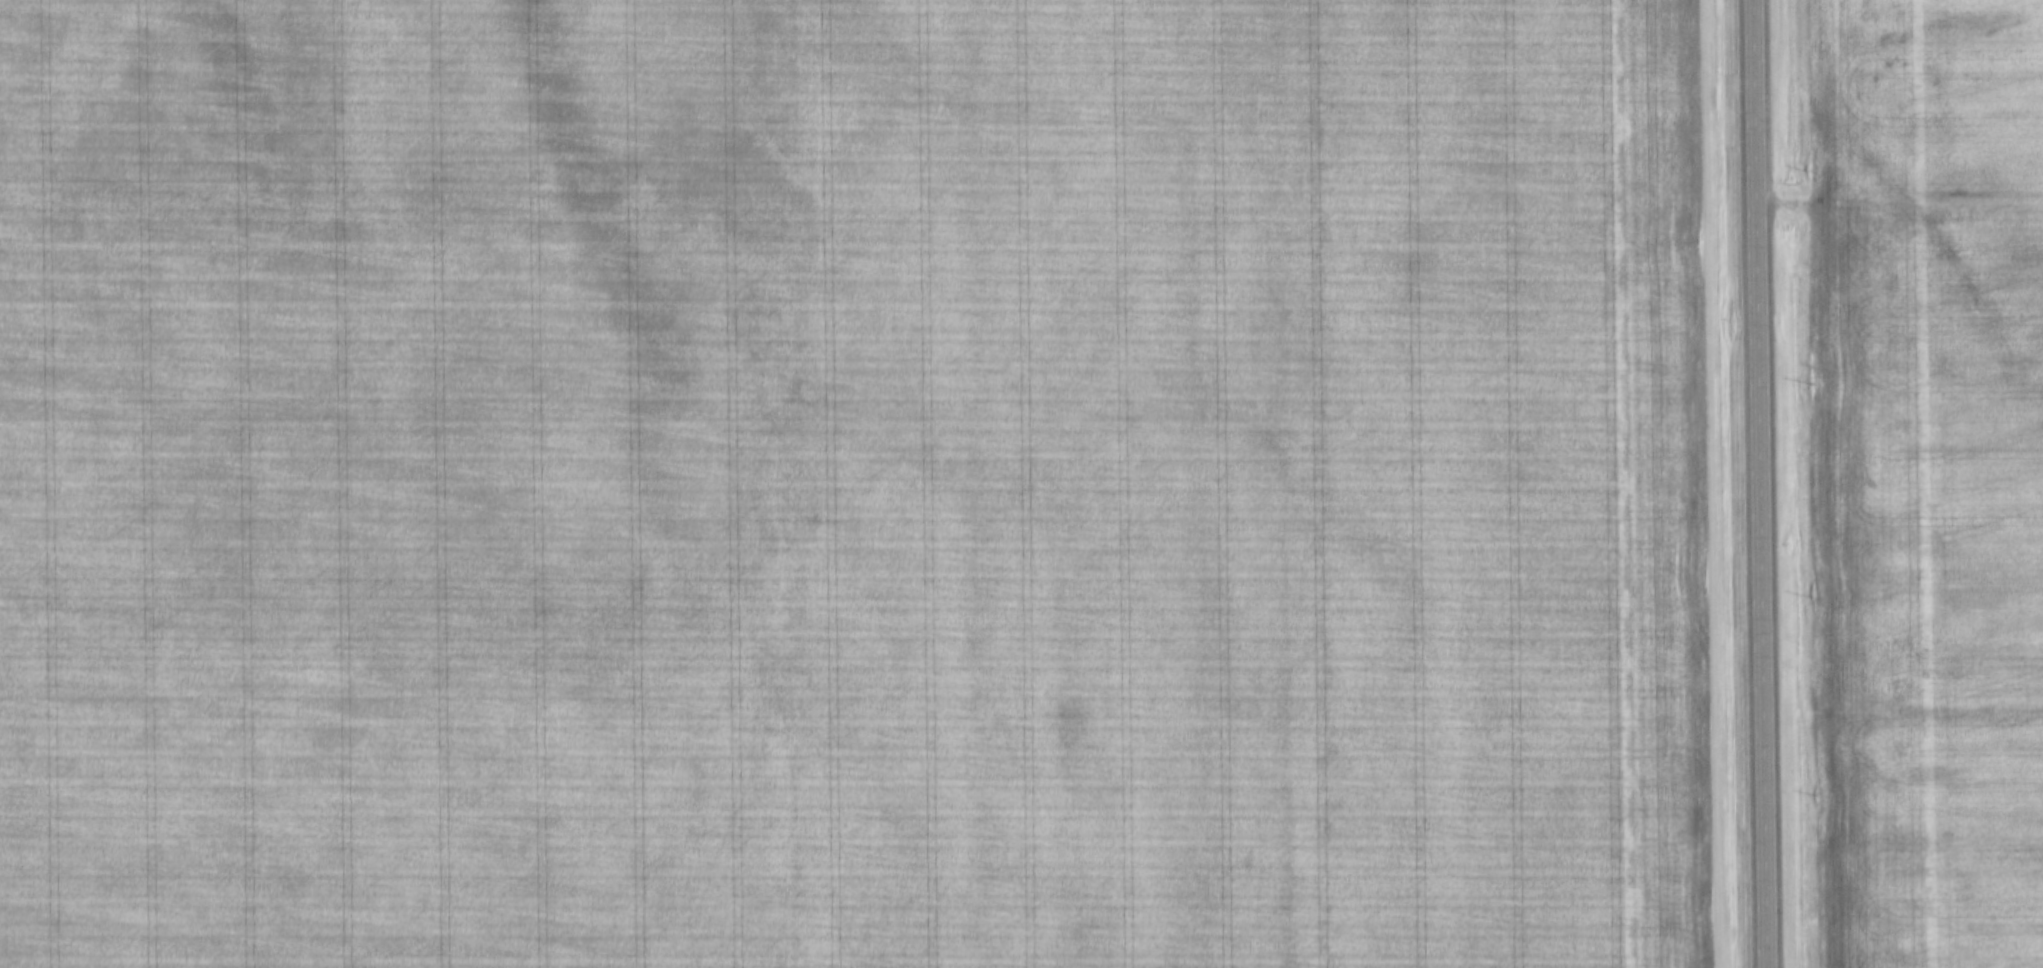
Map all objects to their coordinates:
road: (1761, 484)

